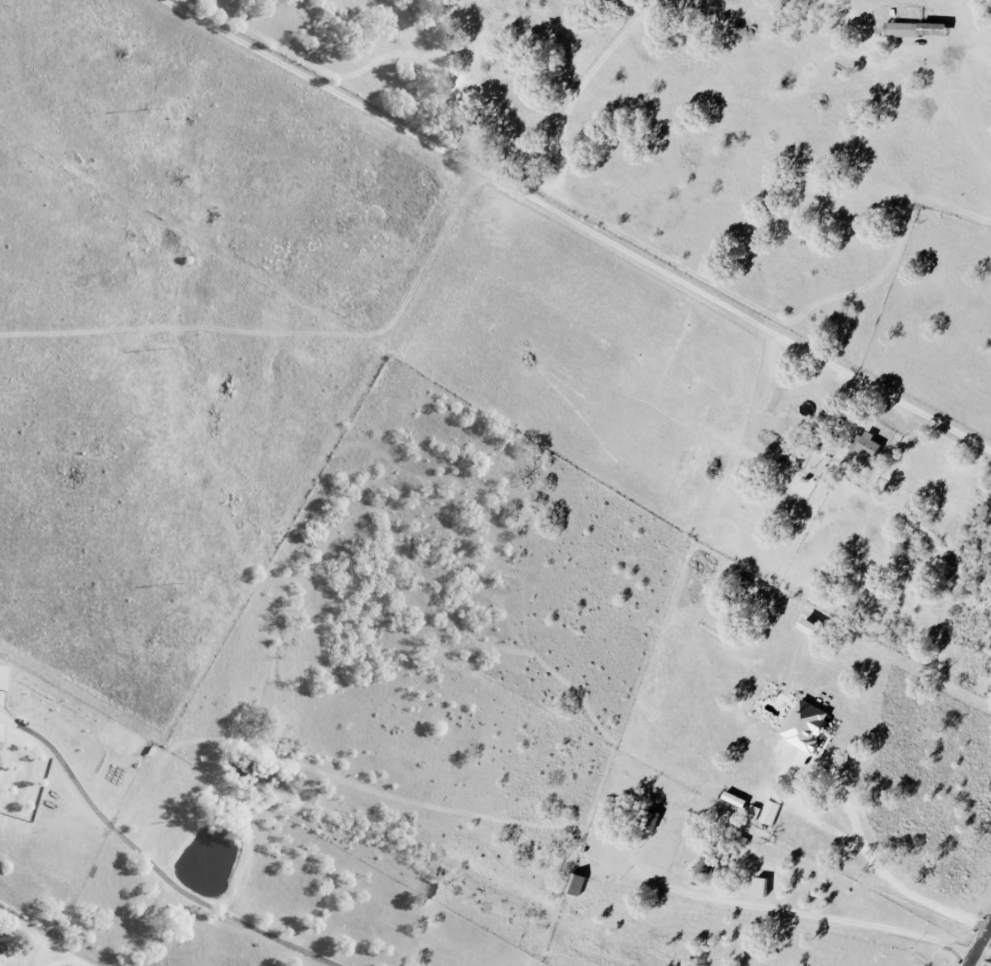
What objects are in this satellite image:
building: (915, 29)
road: (911, 47)
power tower: (153, 109)
road: (577, 226)
power tower: (167, 349)
building: (771, 400)
building: (865, 443)
power tower: (178, 585)
building: (807, 625)
building: (2, 675)
building: (804, 725)
road: (849, 809)
building: (754, 811)
building: (770, 812)
building: (651, 819)
power tower: (192, 820)
road: (149, 864)
building: (575, 884)
building: (759, 886)
road: (800, 911)
road: (980, 947)
road: (70, 960)

